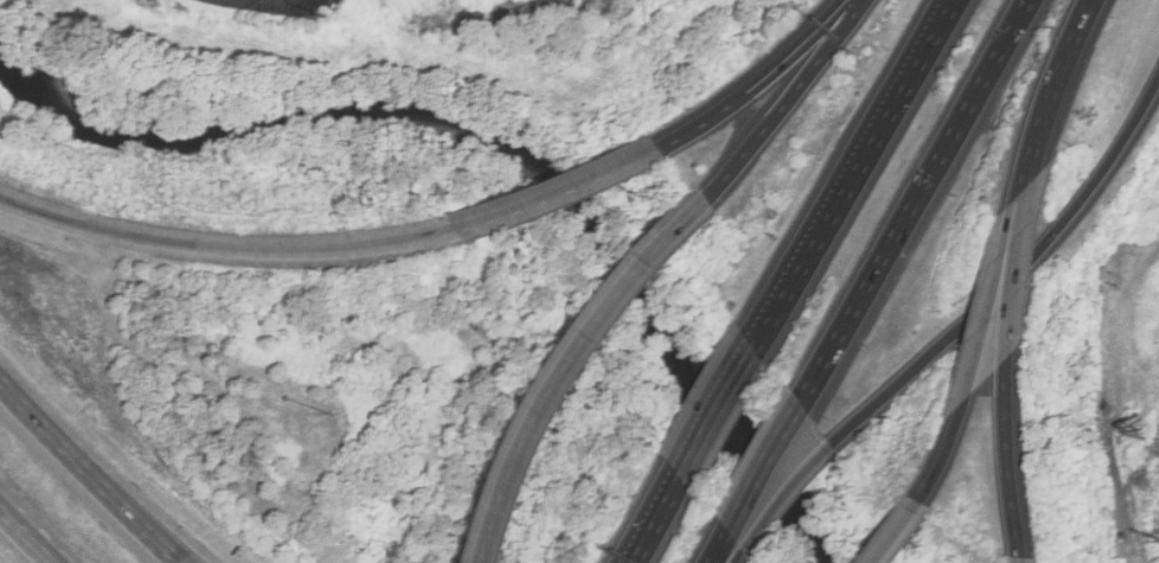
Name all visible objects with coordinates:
road: (760, 81)
road: (1051, 91)
road: (788, 101)
river: (395, 110)
road: (851, 174)
road: (912, 203)
road: (74, 222)
road: (414, 241)
road: (1012, 274)
road: (1012, 275)
road: (993, 293)
road: (587, 371)
road: (9, 391)
road: (715, 411)
road: (945, 452)
road: (1008, 458)
river: (763, 468)
road: (763, 468)
road: (101, 484)
road: (787, 495)
road: (655, 519)
road: (903, 532)
road: (25, 537)
road: (720, 546)
road: (735, 556)
road: (1023, 559)

